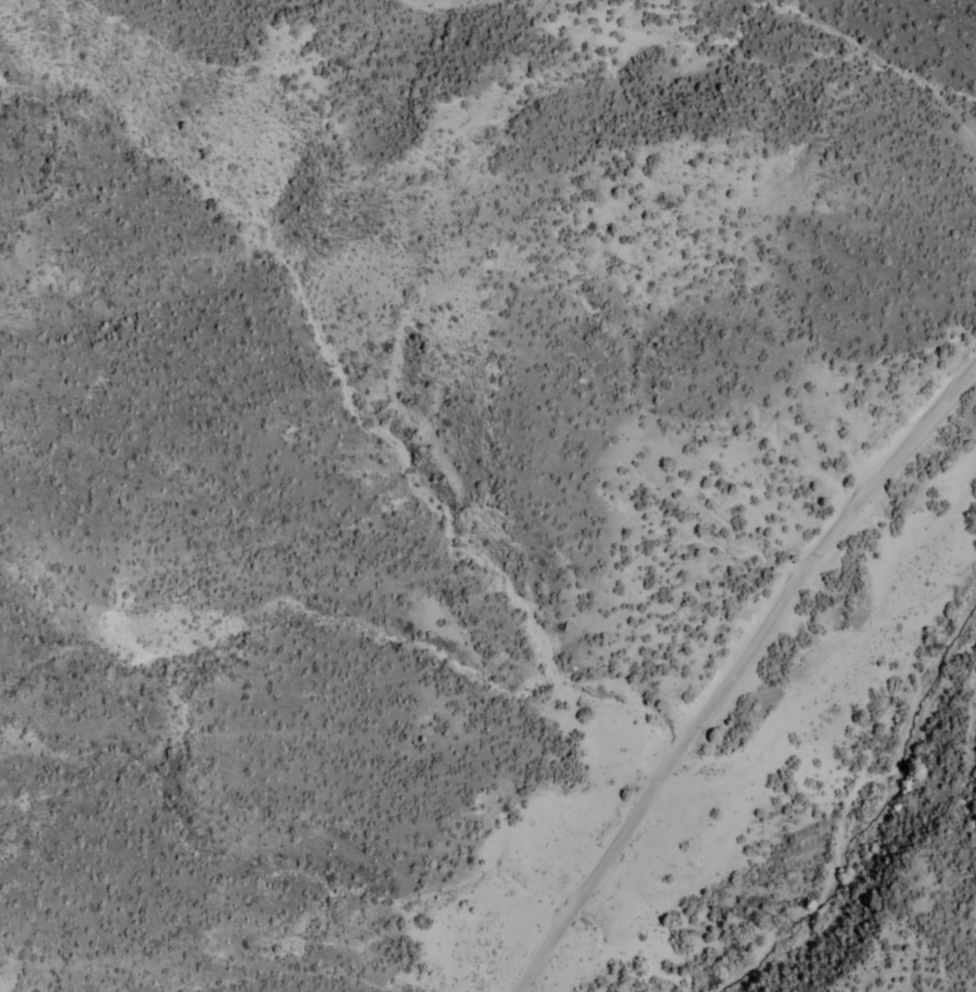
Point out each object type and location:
road: (736, 673)

